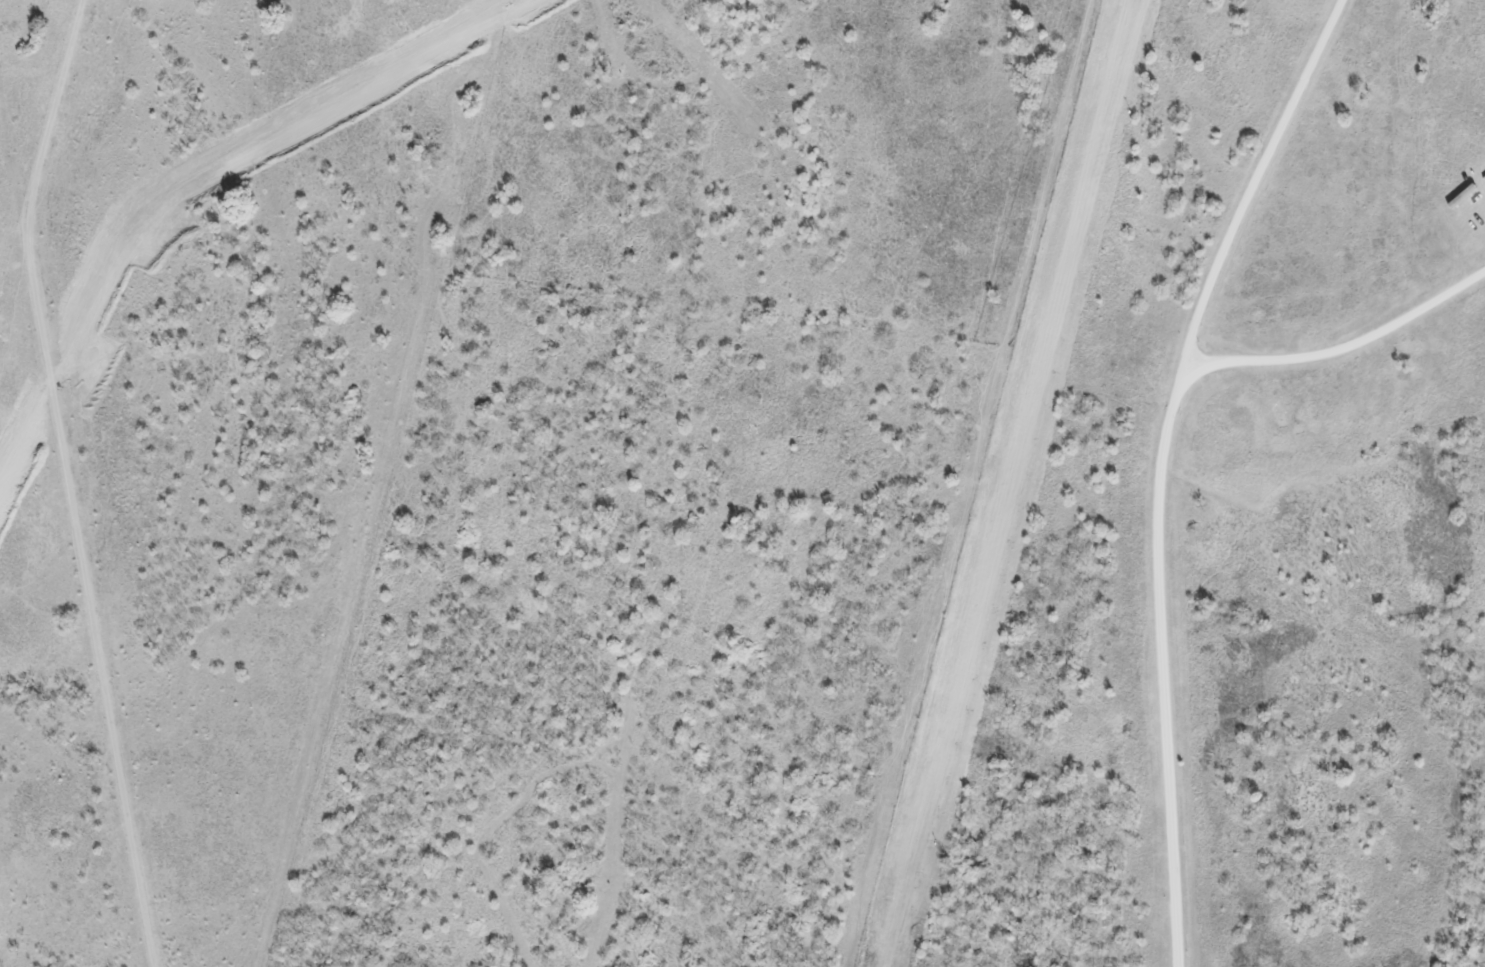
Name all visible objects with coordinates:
road: (1256, 180)
road: (1343, 350)
road: (70, 481)
road: (1166, 665)

